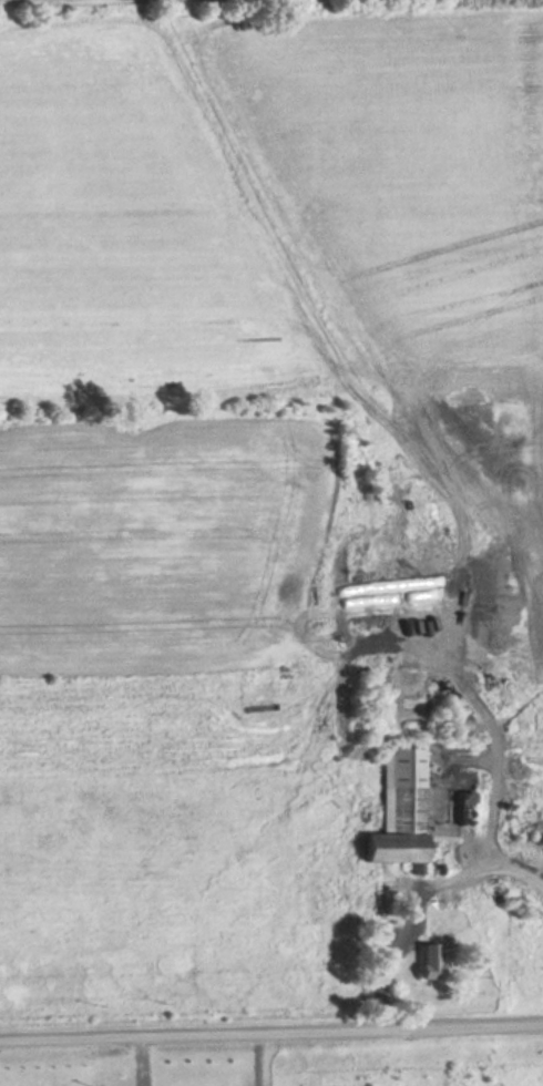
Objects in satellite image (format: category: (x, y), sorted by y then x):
building: (445, 725)
road: (498, 730)
building: (395, 831)
road: (416, 899)
building: (429, 964)
road: (271, 1031)
road: (253, 1058)

